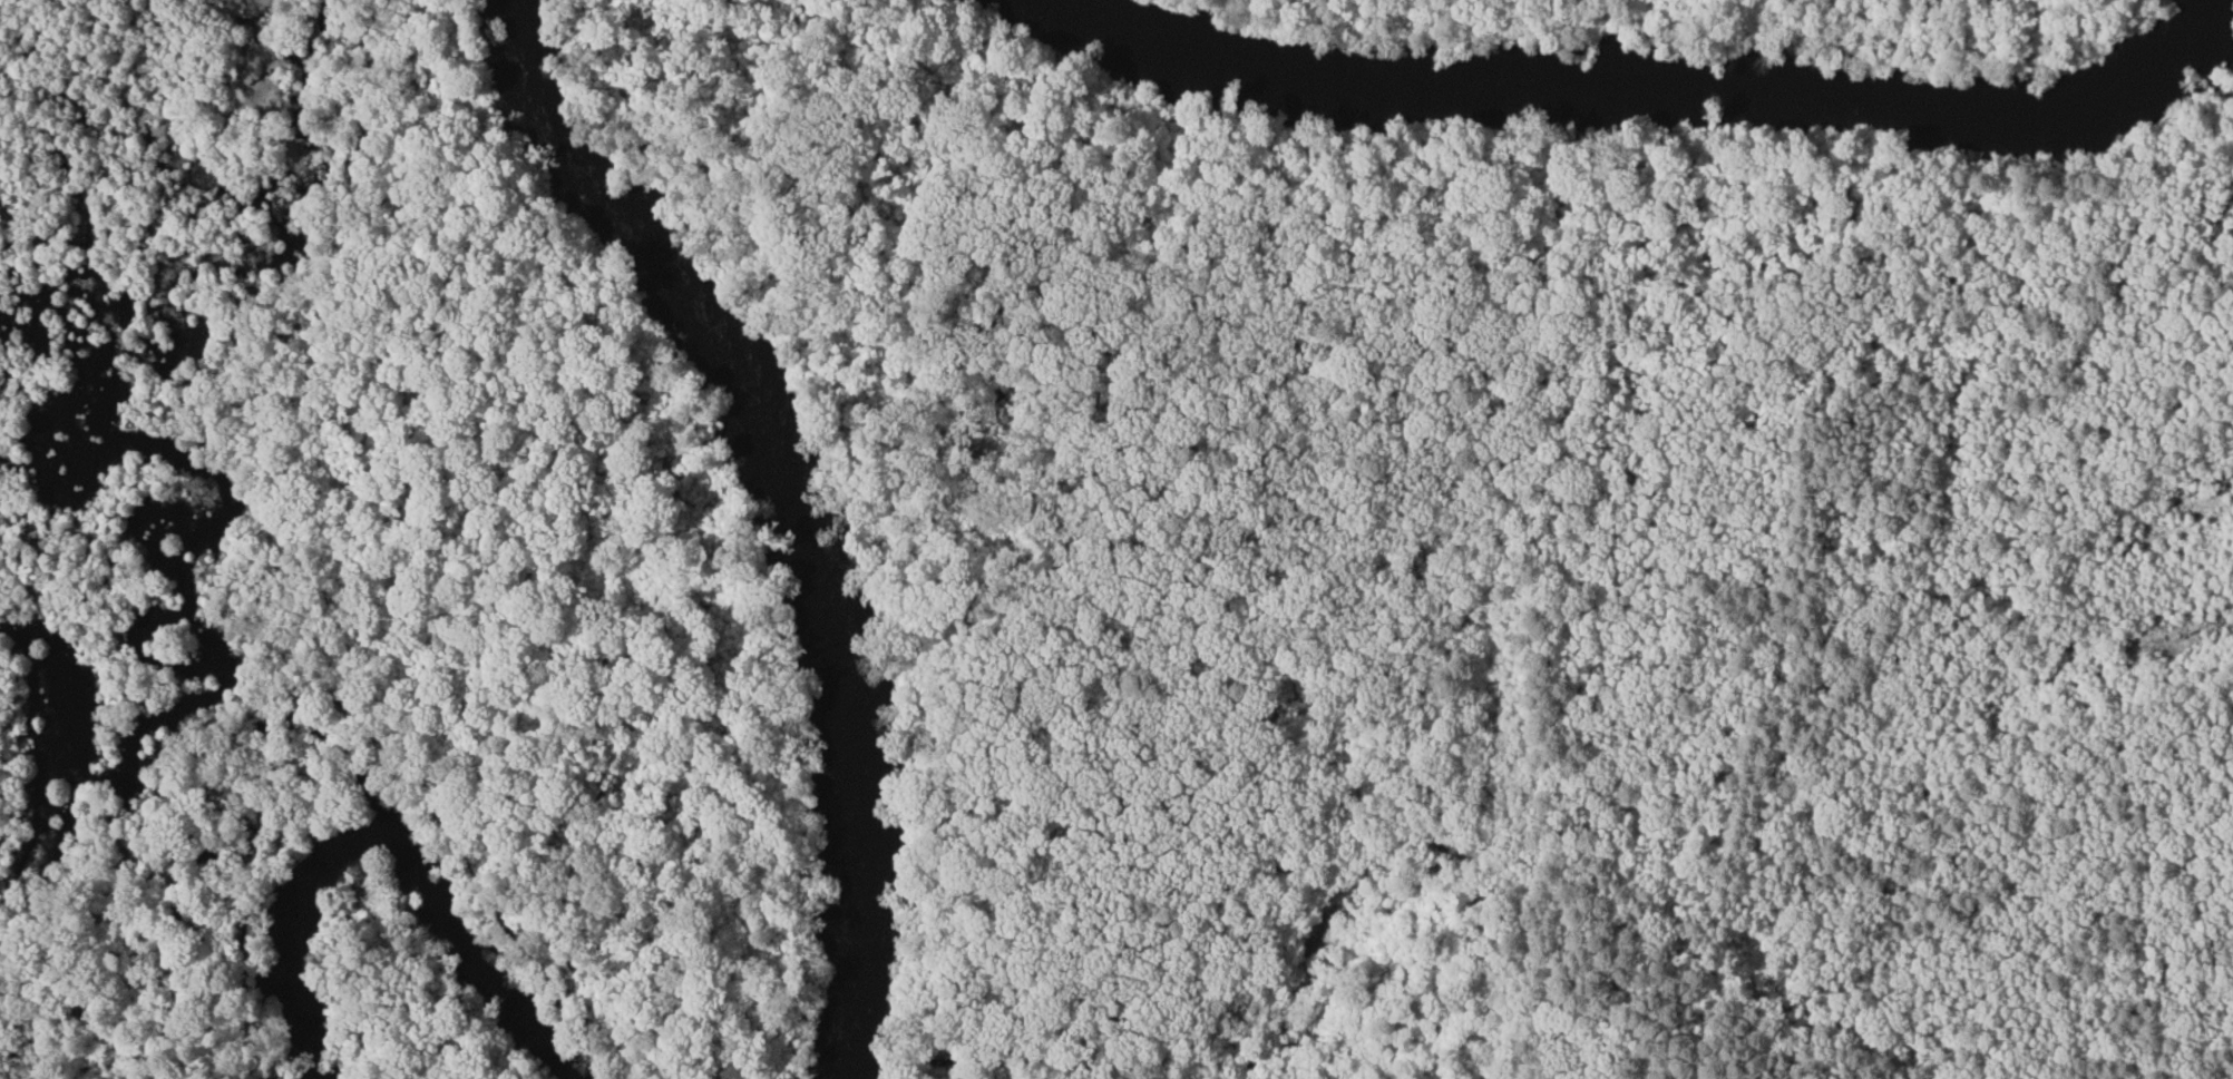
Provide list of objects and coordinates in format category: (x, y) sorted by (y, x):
river: (1693, 79)
river: (808, 509)

